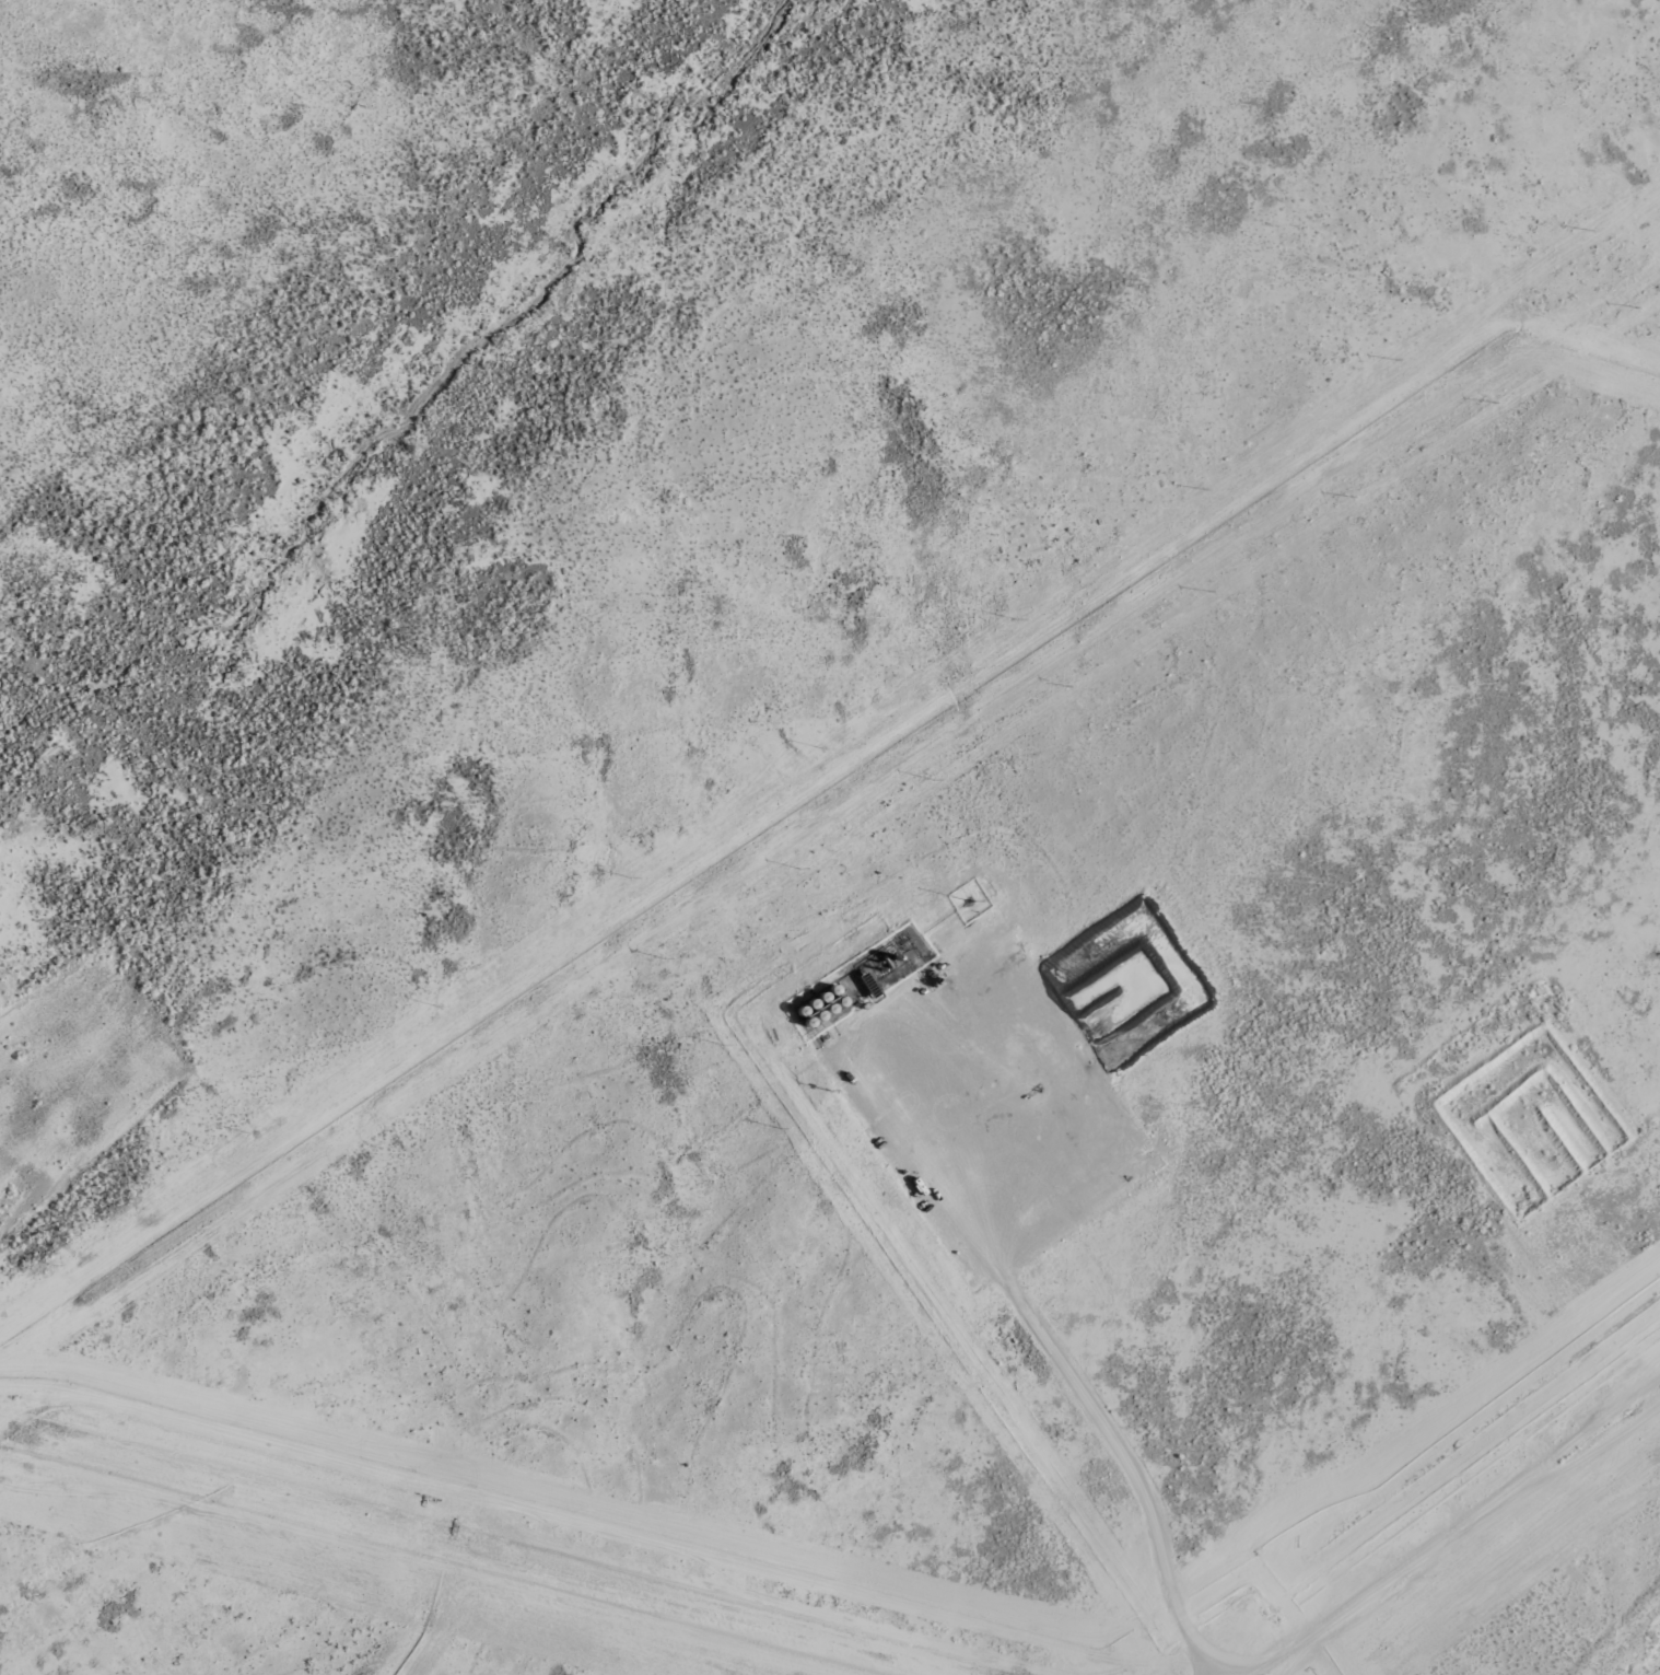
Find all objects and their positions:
road: (1458, 1525)

